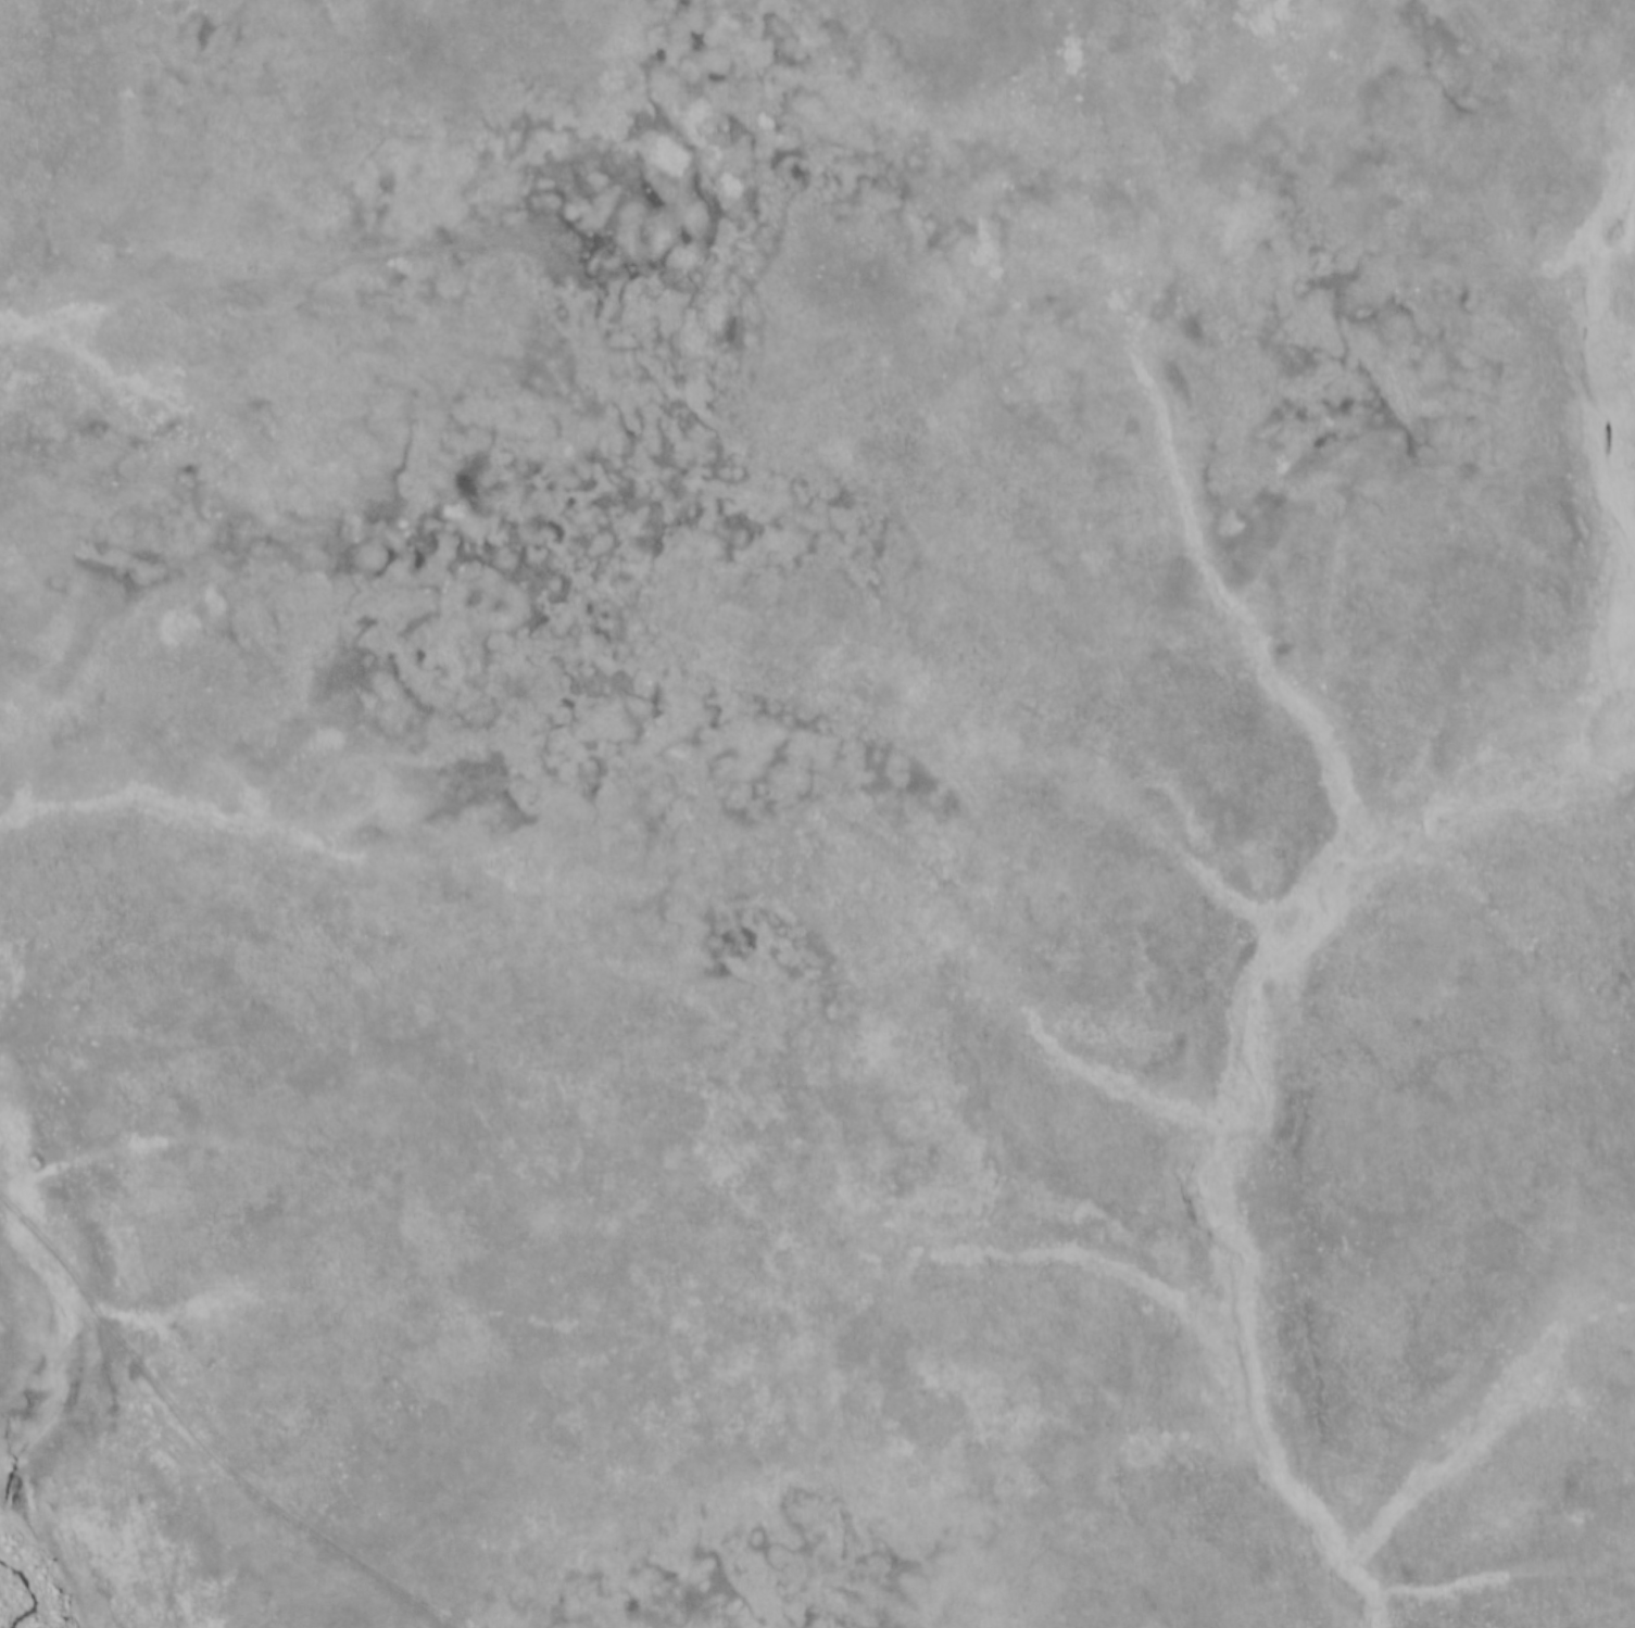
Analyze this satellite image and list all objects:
road: (192, 1441)

